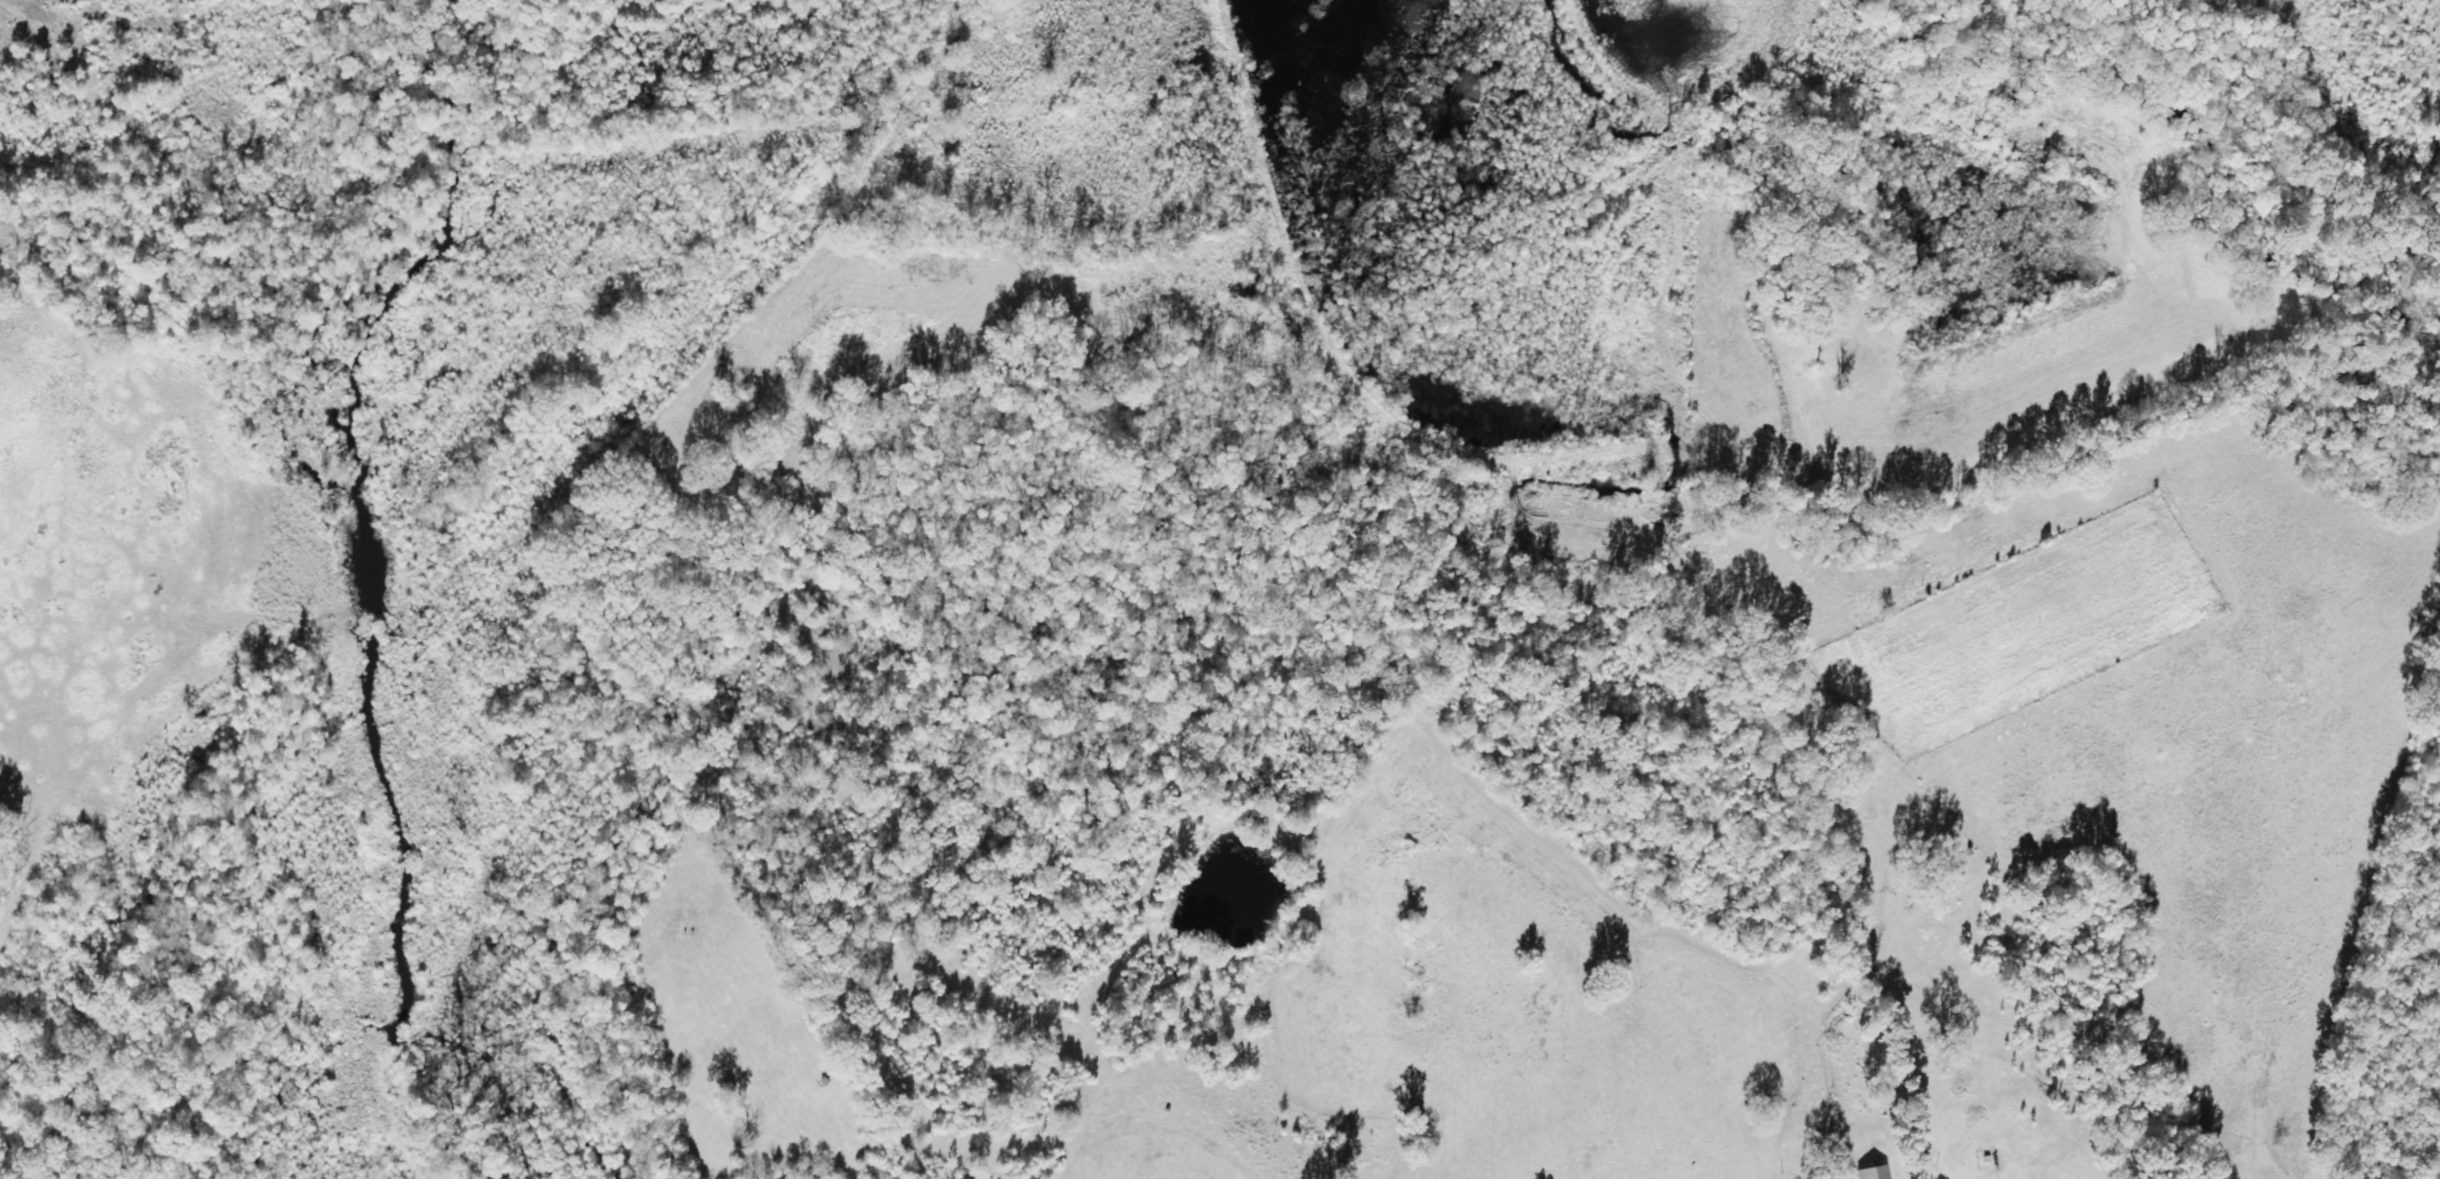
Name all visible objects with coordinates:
building: (1878, 1172)

